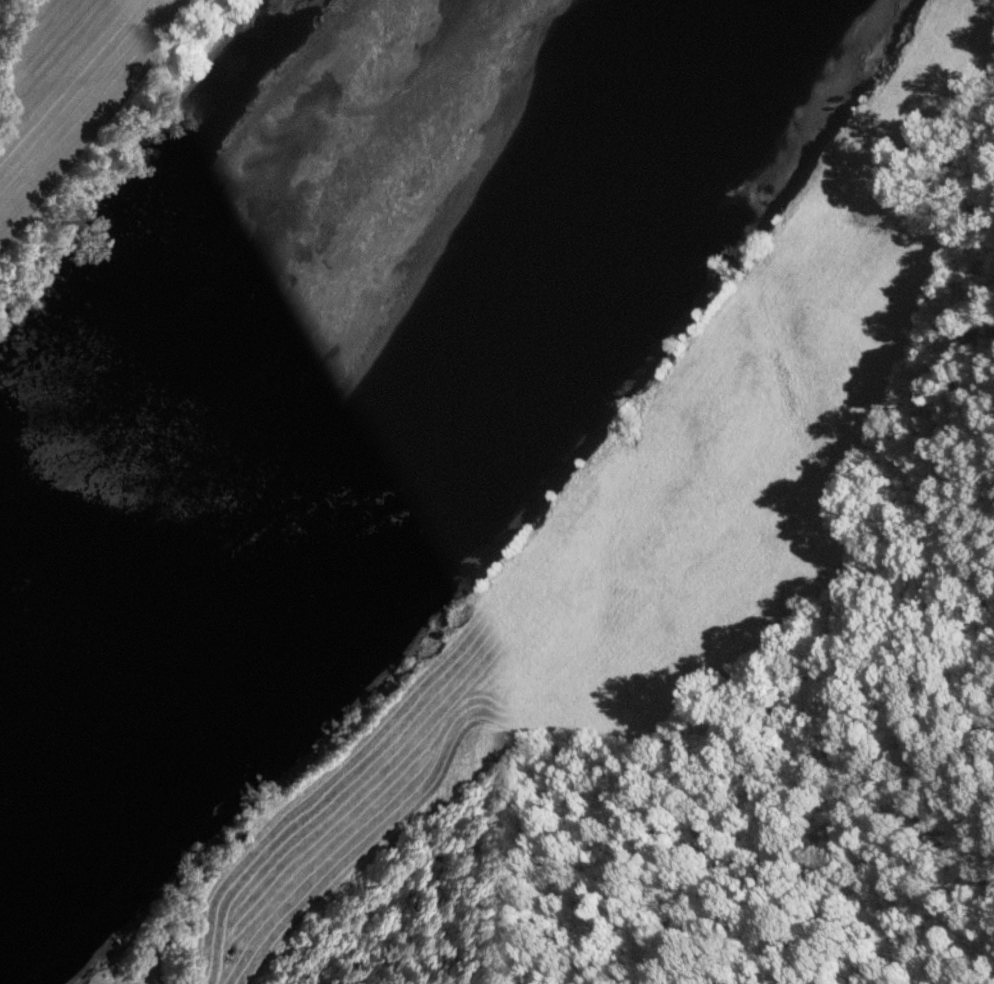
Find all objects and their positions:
river: (383, 459)

